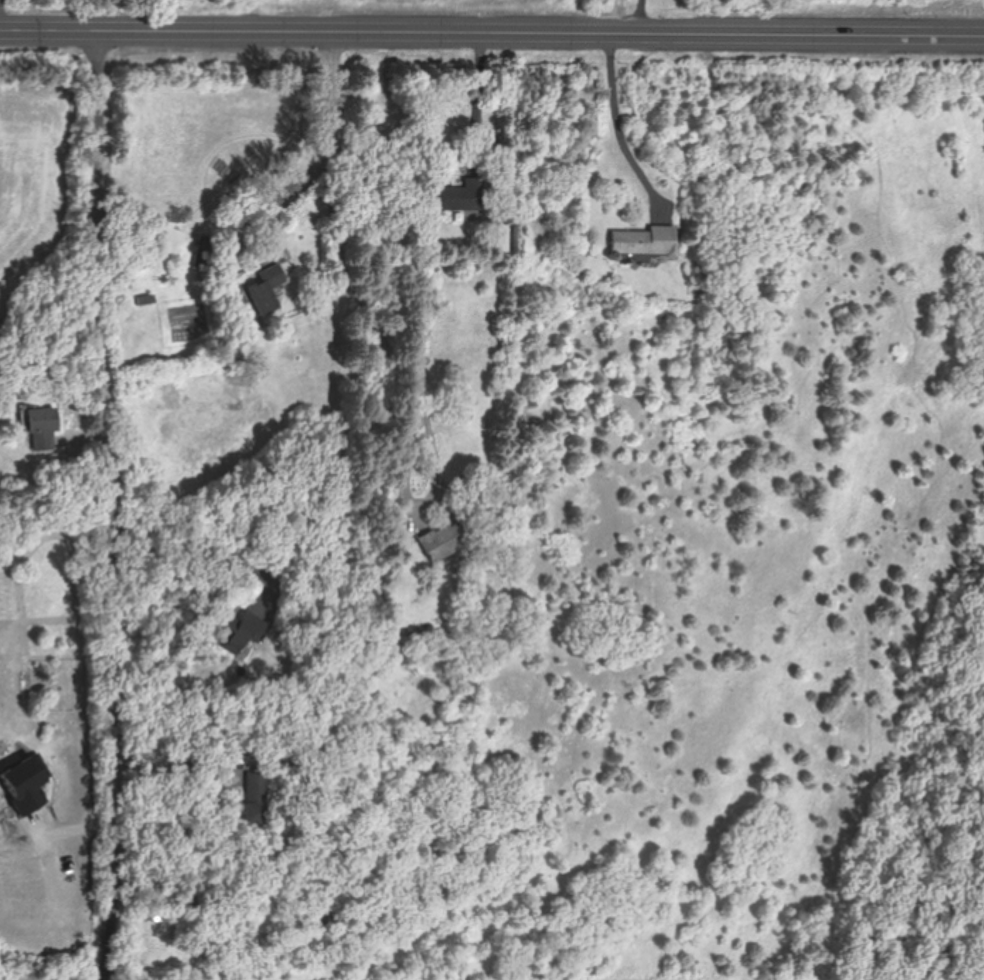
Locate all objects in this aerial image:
road: (641, 18)
road: (491, 35)
road: (476, 103)
road: (628, 127)
road: (326, 153)
building: (463, 196)
building: (501, 238)
building: (644, 243)
building: (208, 253)
building: (267, 289)
road: (361, 316)
building: (42, 428)
road: (109, 505)
building: (448, 540)
road: (200, 548)
building: (238, 631)
building: (22, 784)
road: (168, 792)
building: (254, 797)

